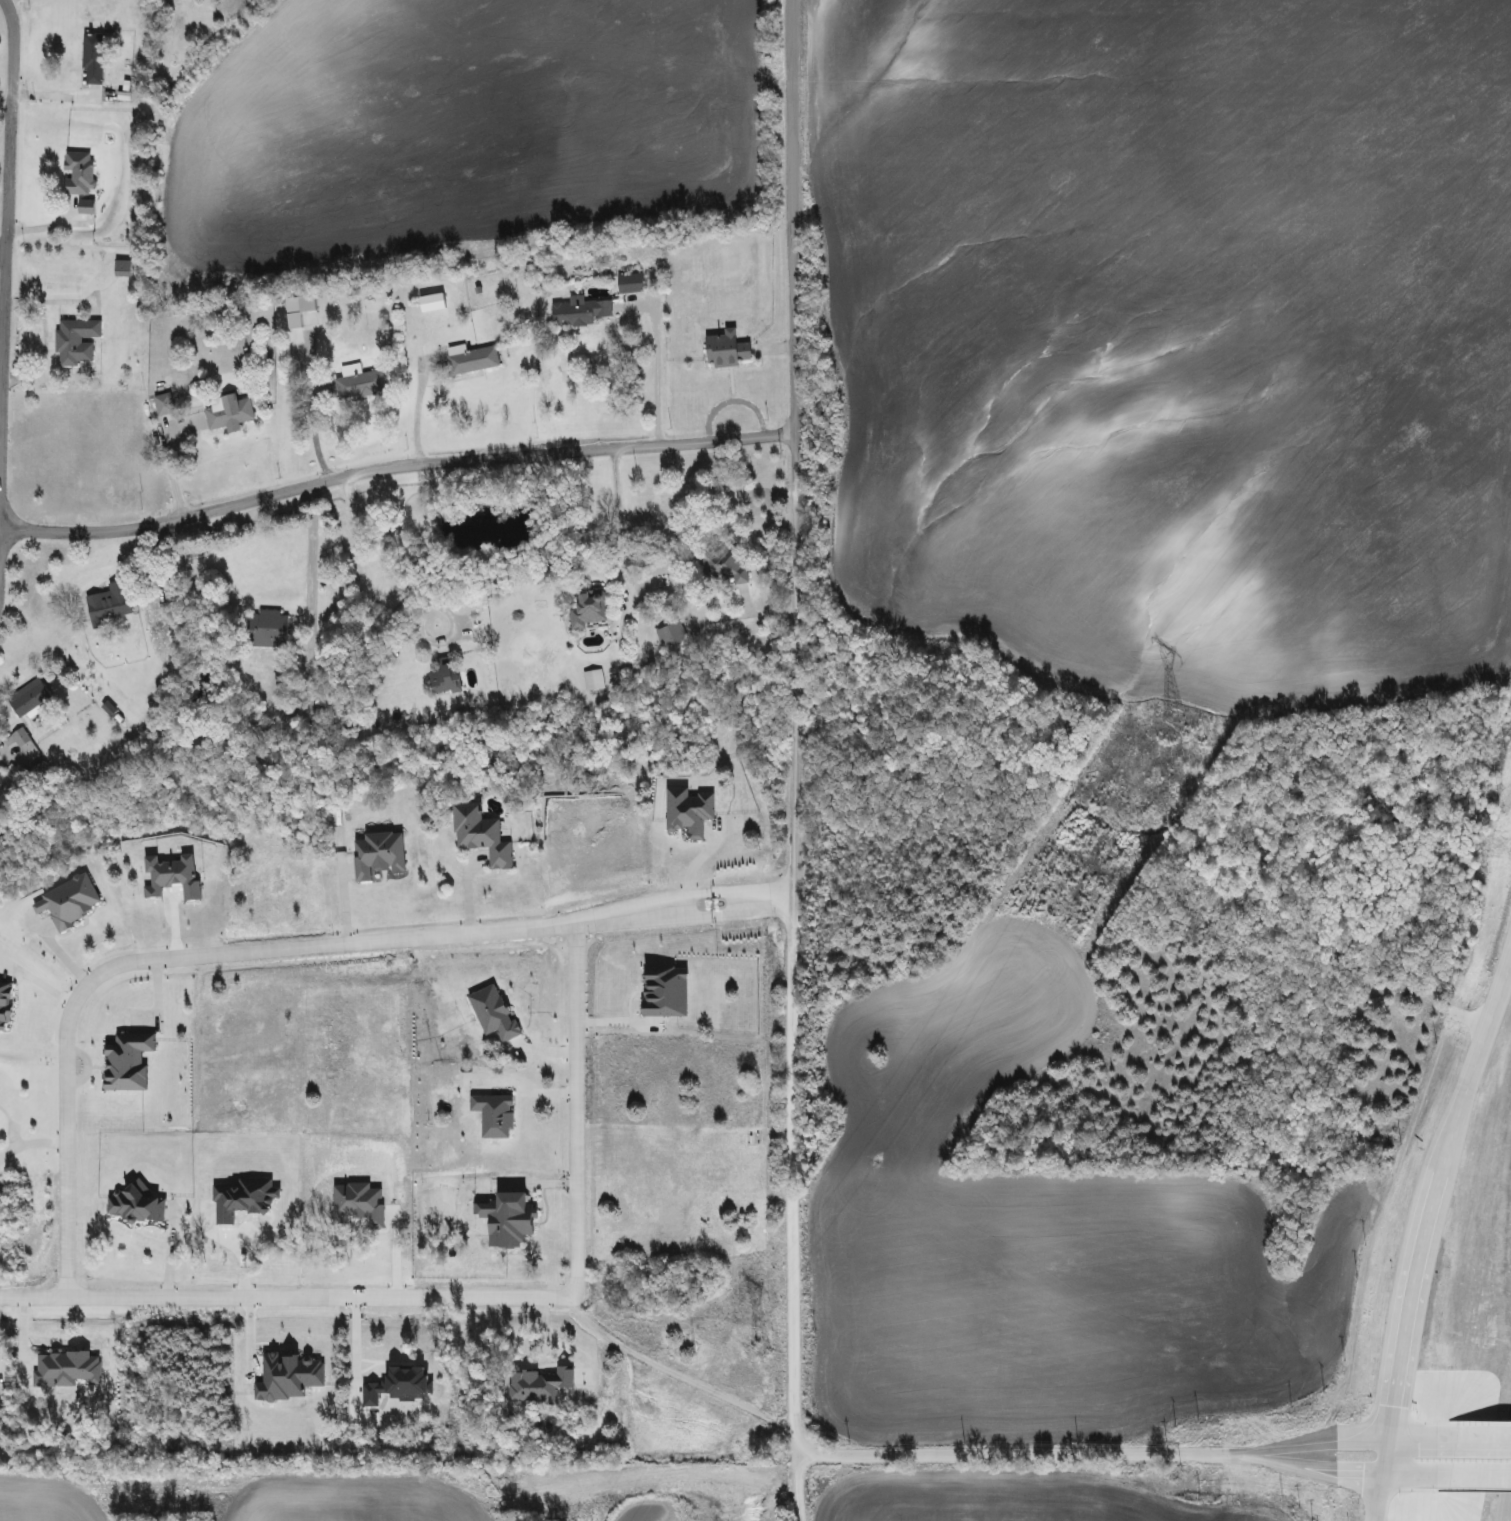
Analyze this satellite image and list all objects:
building: (89, 58)
building: (74, 173)
road: (5, 234)
road: (2, 250)
building: (626, 283)
building: (302, 302)
building: (577, 312)
building: (73, 340)
building: (722, 348)
building: (467, 358)
road: (657, 374)
building: (344, 386)
building: (160, 404)
building: (226, 411)
road: (413, 413)
road: (393, 465)
road: (171, 472)
road: (616, 522)
building: (716, 562)
road: (406, 595)
building: (105, 601)
building: (583, 607)
road: (309, 627)
building: (262, 628)
building: (667, 634)
building: (440, 675)
building: (590, 679)
building: (24, 696)
power tower: (1166, 722)
building: (16, 735)
road: (793, 760)
building: (476, 833)
building: (374, 853)
road: (690, 865)
road: (341, 884)
road: (274, 947)
road: (37, 978)
road: (28, 1138)
road: (1430, 1215)
road: (236, 1244)
road: (473, 1297)
power tower: (753, 1351)
road: (671, 1377)
road: (1091, 1457)
road: (1399, 1461)
road: (1463, 1462)
road: (1381, 1491)

